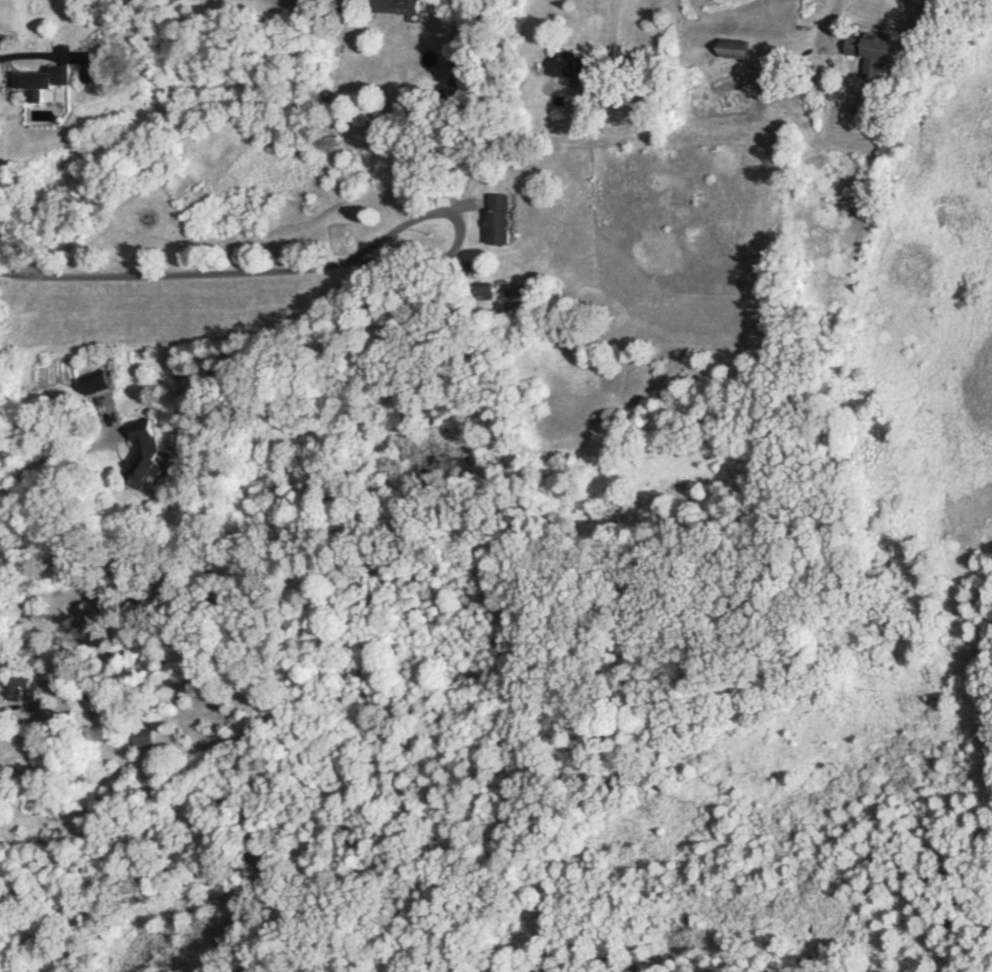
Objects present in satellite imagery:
building: (395, 7)
road: (836, 19)
road: (617, 20)
building: (735, 48)
road: (37, 55)
building: (875, 59)
building: (566, 64)
building: (43, 80)
building: (497, 218)
road: (239, 271)
building: (481, 290)
building: (97, 383)
building: (142, 454)
building: (28, 694)
building: (143, 738)

